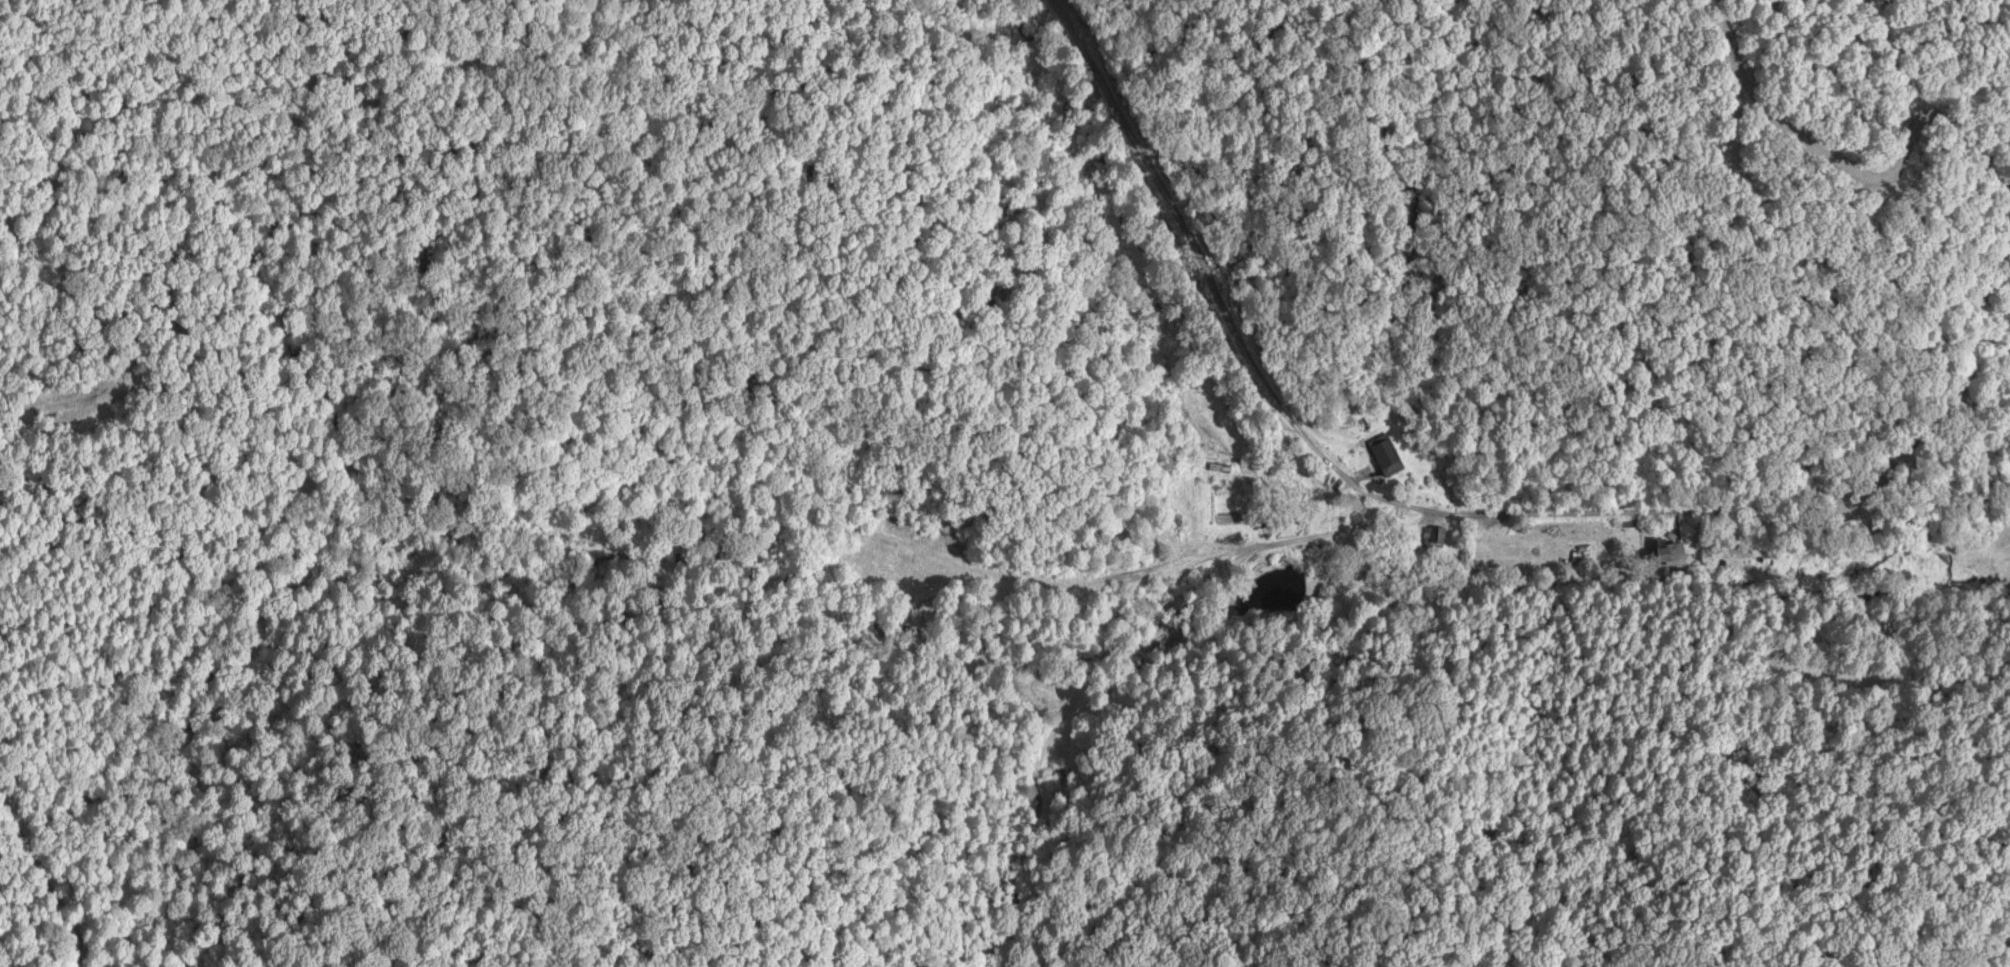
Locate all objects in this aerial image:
road: (1975, 432)
building: (1392, 454)
road: (1808, 455)
building: (1674, 553)
road: (1208, 567)

